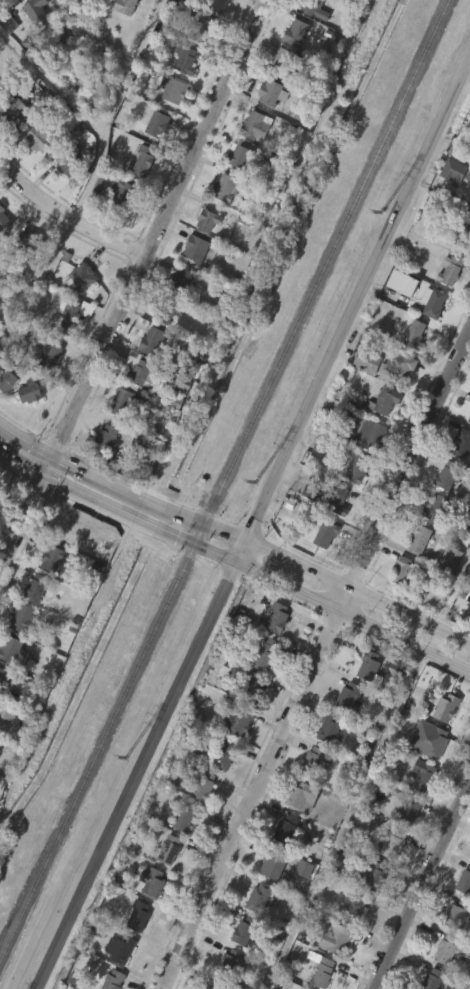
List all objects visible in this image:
building: (229, 0)
building: (329, 0)
building: (217, 4)
building: (126, 6)
building: (194, 6)
building: (312, 7)
building: (9, 12)
building: (38, 14)
building: (200, 28)
building: (217, 32)
building: (295, 32)
building: (122, 38)
building: (304, 43)
building: (31, 44)
building: (5, 59)
building: (186, 59)
building: (199, 61)
building: (285, 64)
road: (51, 80)
building: (173, 90)
building: (270, 93)
building: (14, 112)
building: (155, 122)
building: (168, 125)
building: (258, 126)
building: (43, 132)
building: (12, 148)
building: (239, 157)
building: (153, 160)
road: (99, 162)
building: (251, 162)
building: (69, 163)
building: (141, 164)
building: (34, 174)
building: (467, 176)
building: (225, 187)
building: (123, 194)
building: (138, 198)
building: (60, 200)
building: (453, 207)
power tower: (380, 212)
road: (69, 215)
building: (206, 219)
building: (3, 220)
building: (99, 221)
building: (220, 223)
building: (119, 228)
building: (461, 235)
road: (155, 239)
building: (16, 244)
building: (196, 248)
building: (203, 256)
building: (3, 257)
building: (462, 268)
building: (449, 271)
building: (84, 276)
building: (23, 279)
building: (182, 280)
building: (400, 282)
building: (437, 303)
building: (166, 310)
building: (176, 314)
building: (72, 317)
building: (398, 318)
building: (416, 337)
building: (428, 338)
building: (151, 342)
building: (69, 352)
building: (51, 354)
building: (367, 361)
building: (403, 363)
building: (137, 372)
building: (9, 380)
building: (28, 391)
building: (46, 391)
building: (361, 397)
building: (384, 400)
building: (124, 401)
building: (399, 403)
building: (141, 412)
building: (5, 414)
building: (468, 415)
building: (25, 427)
building: (176, 427)
building: (368, 433)
building: (382, 436)
building: (117, 438)
building: (103, 439)
building: (462, 443)
building: (328, 445)
road: (409, 454)
road: (21, 464)
building: (356, 469)
building: (101, 475)
building: (142, 479)
railway: (227, 480)
road: (100, 481)
building: (453, 481)
power tower: (255, 484)
building: (312, 487)
building: (337, 502)
building: (352, 504)
building: (437, 509)
road: (121, 511)
road: (22, 525)
building: (64, 525)
building: (305, 527)
road: (252, 530)
building: (325, 534)
building: (335, 536)
building: (418, 538)
building: (431, 544)
building: (56, 557)
building: (450, 557)
building: (321, 570)
building: (406, 571)
building: (414, 574)
road: (339, 578)
building: (37, 587)
building: (49, 593)
building: (445, 594)
road: (343, 597)
building: (399, 607)
building: (468, 609)
road: (332, 610)
building: (279, 617)
building: (25, 619)
building: (11, 649)
building: (264, 655)
building: (368, 667)
building: (2, 673)
building: (253, 687)
building: (262, 687)
building: (349, 696)
building: (364, 701)
building: (389, 704)
building: (0, 705)
building: (446, 706)
building: (219, 707)
building: (238, 720)
building: (251, 720)
building: (332, 729)
building: (344, 731)
building: (437, 743)
building: (225, 755)
power tower: (123, 761)
building: (316, 761)
building: (424, 776)
building: (205, 786)
building: (220, 791)
building: (303, 796)
road: (251, 800)
building: (410, 810)
building: (187, 817)
building: (199, 821)
building: (285, 828)
building: (298, 831)
building: (393, 843)
building: (405, 843)
building: (171, 850)
building: (180, 853)
building: (272, 863)
building: (283, 864)
building: (463, 874)
building: (373, 876)
building: (388, 881)
building: (154, 882)
building: (164, 885)
road: (422, 888)
building: (258, 896)
building: (268, 901)
building: (299, 903)
building: (354, 905)
building: (370, 910)
building: (140, 913)
building: (456, 915)
building: (245, 930)
building: (258, 932)
building: (335, 937)
building: (112, 942)
building: (350, 943)
building: (448, 946)
building: (134, 951)
building: (228, 963)
building: (239, 966)
building: (324, 973)
building: (434, 979)
building: (112, 980)
building: (219, 985)
building: (306, 988)

